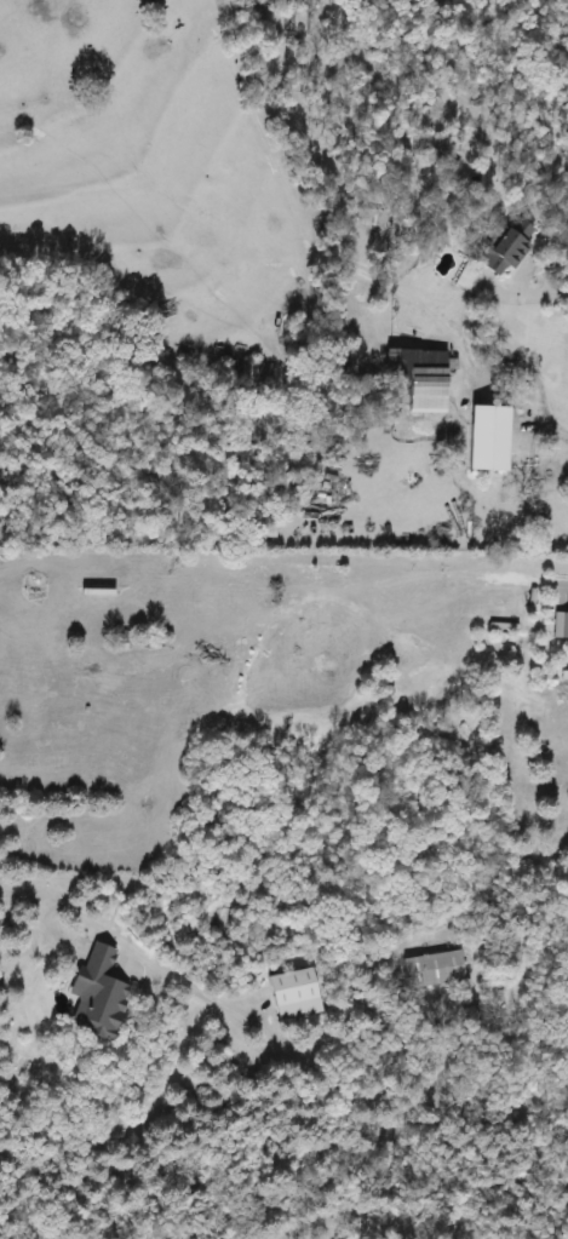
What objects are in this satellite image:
building: (505, 248)
road: (551, 286)
building: (423, 379)
road: (537, 392)
building: (560, 624)
building: (117, 639)
road: (481, 940)
building: (435, 969)
building: (96, 993)
building: (294, 993)
road: (539, 1034)
road: (333, 1084)

